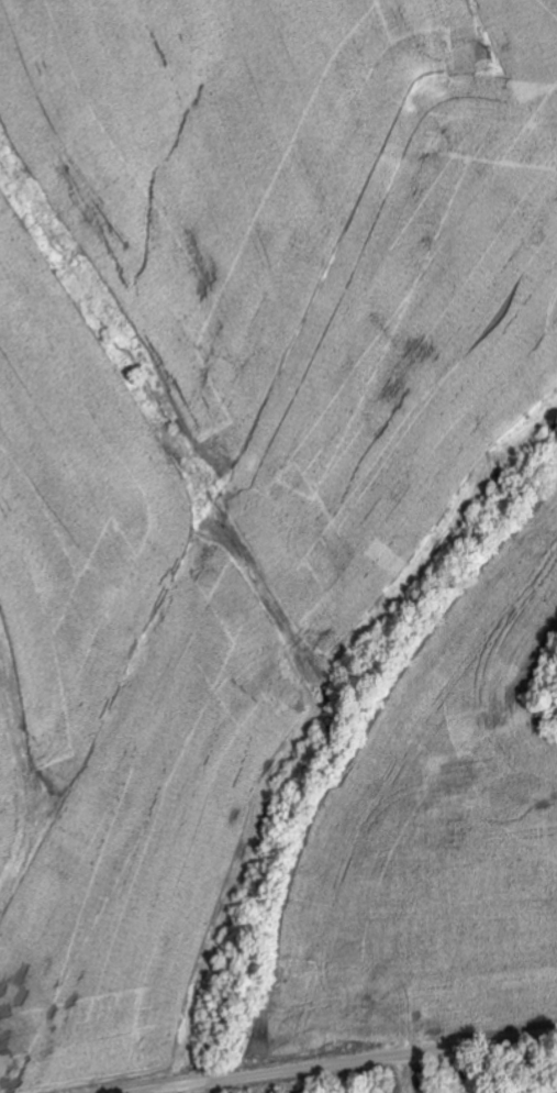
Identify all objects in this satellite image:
road: (343, 1062)

